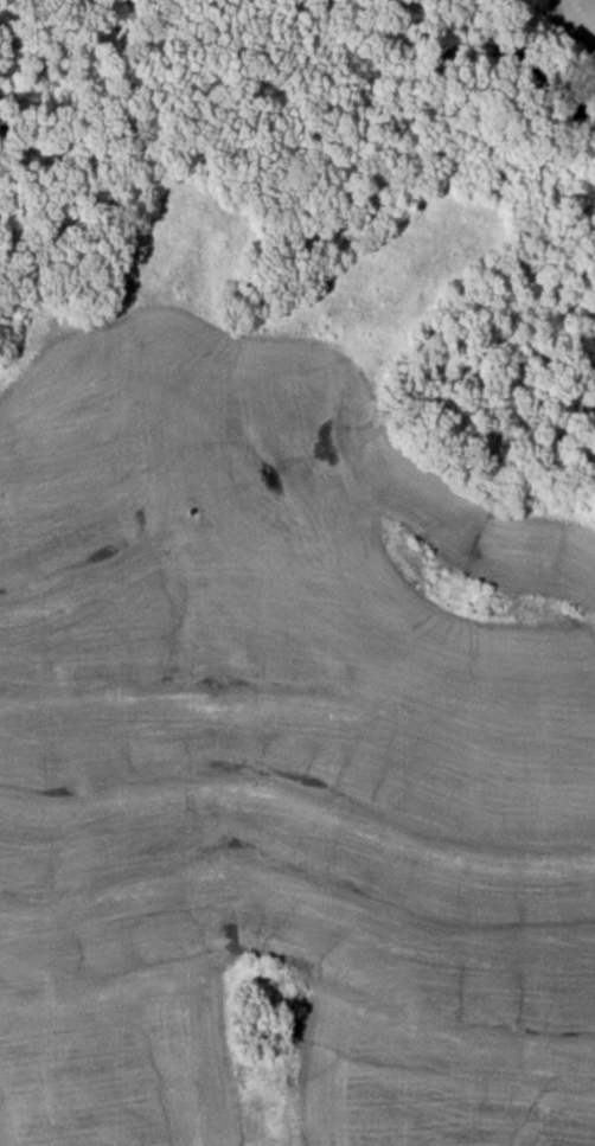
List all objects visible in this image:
river: (494, 83)

